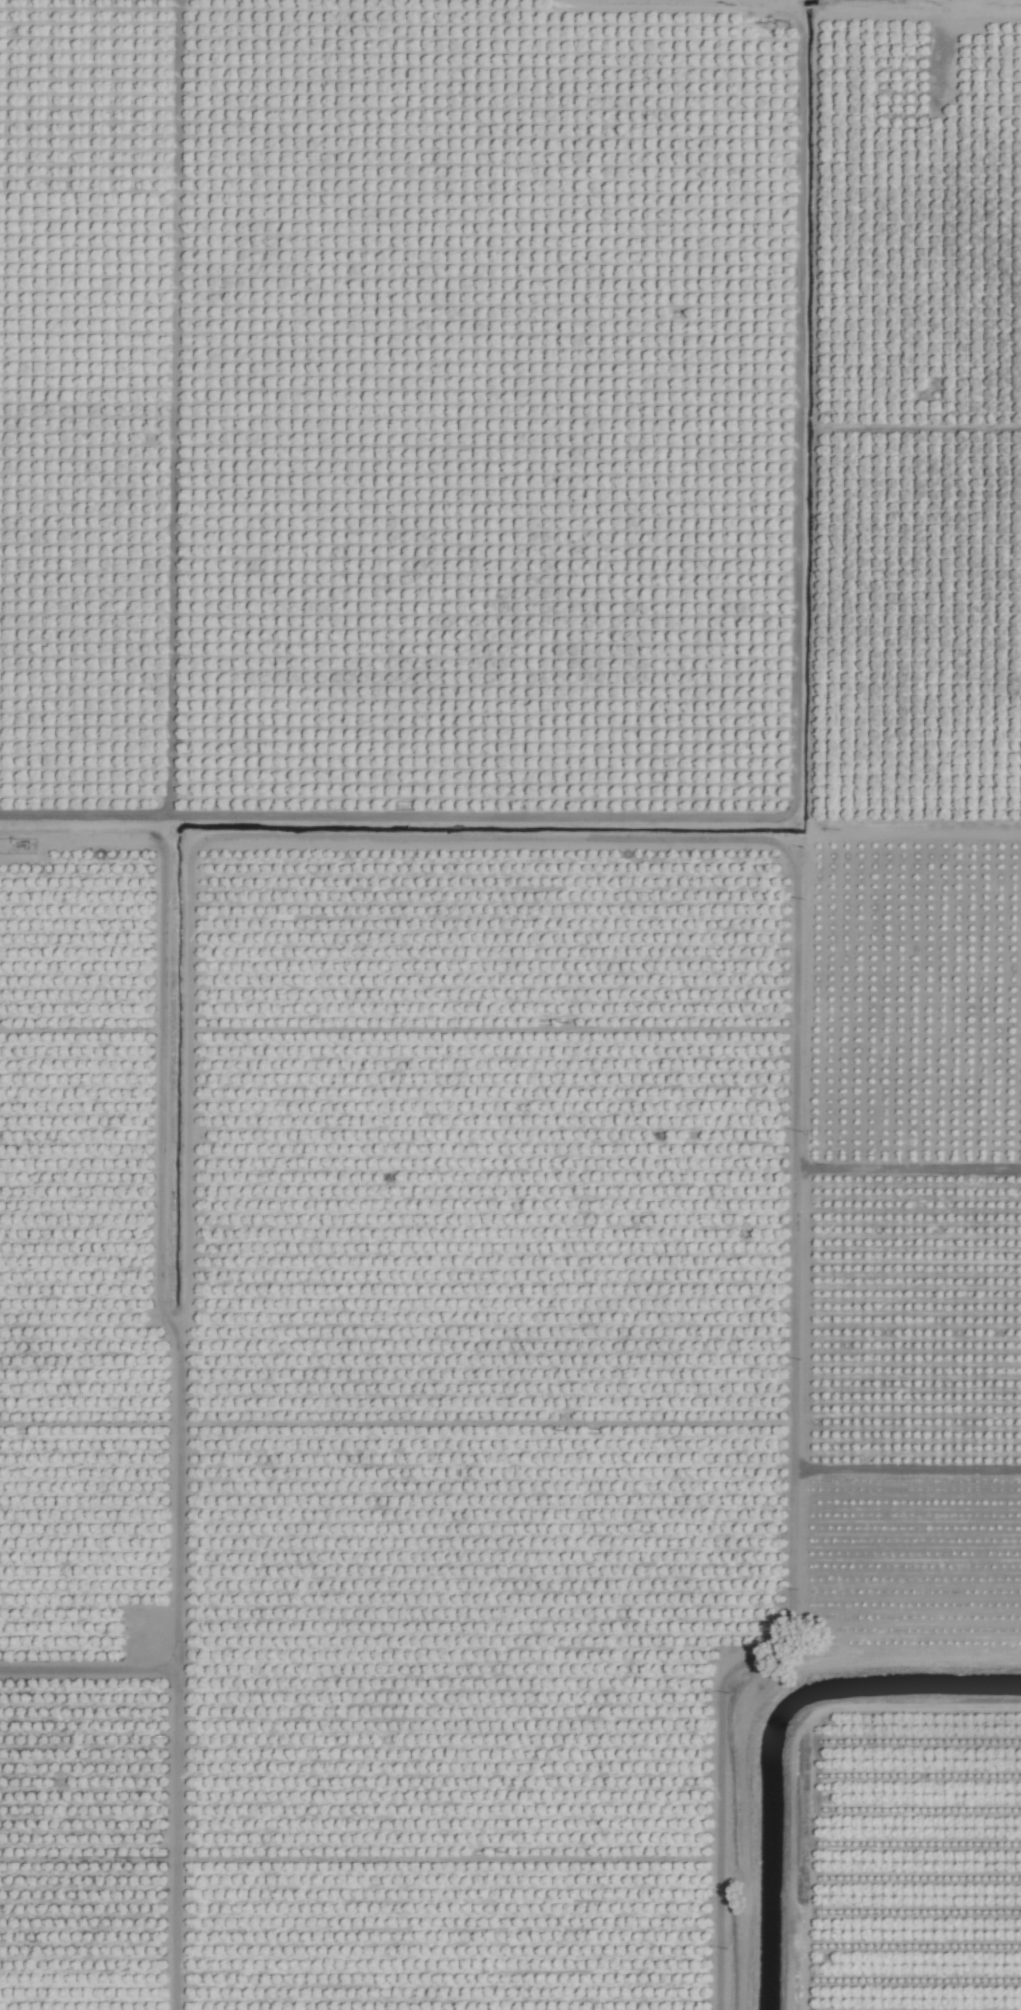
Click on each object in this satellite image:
road: (180, 497)
road: (185, 1329)

